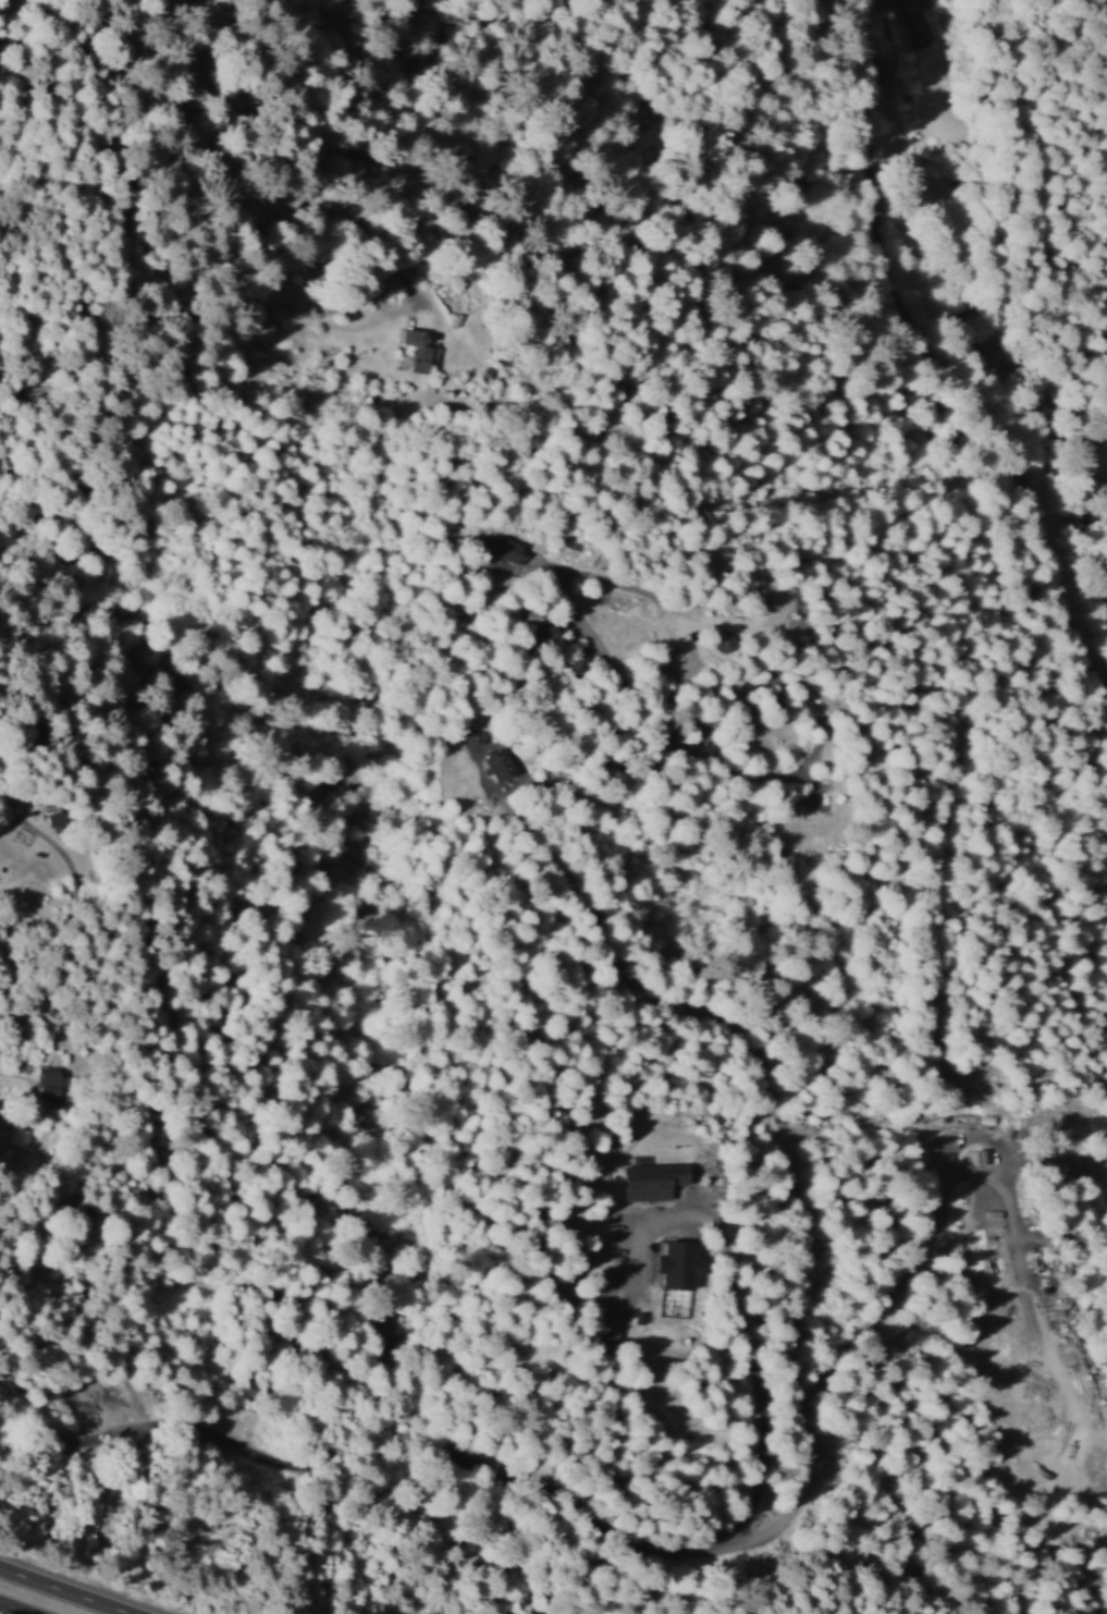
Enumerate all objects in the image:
road: (942, 346)
building: (418, 350)
building: (497, 763)
building: (51, 1085)
building: (982, 1156)
building: (653, 1181)
building: (681, 1263)
road: (65, 1590)
road: (1, 1613)

